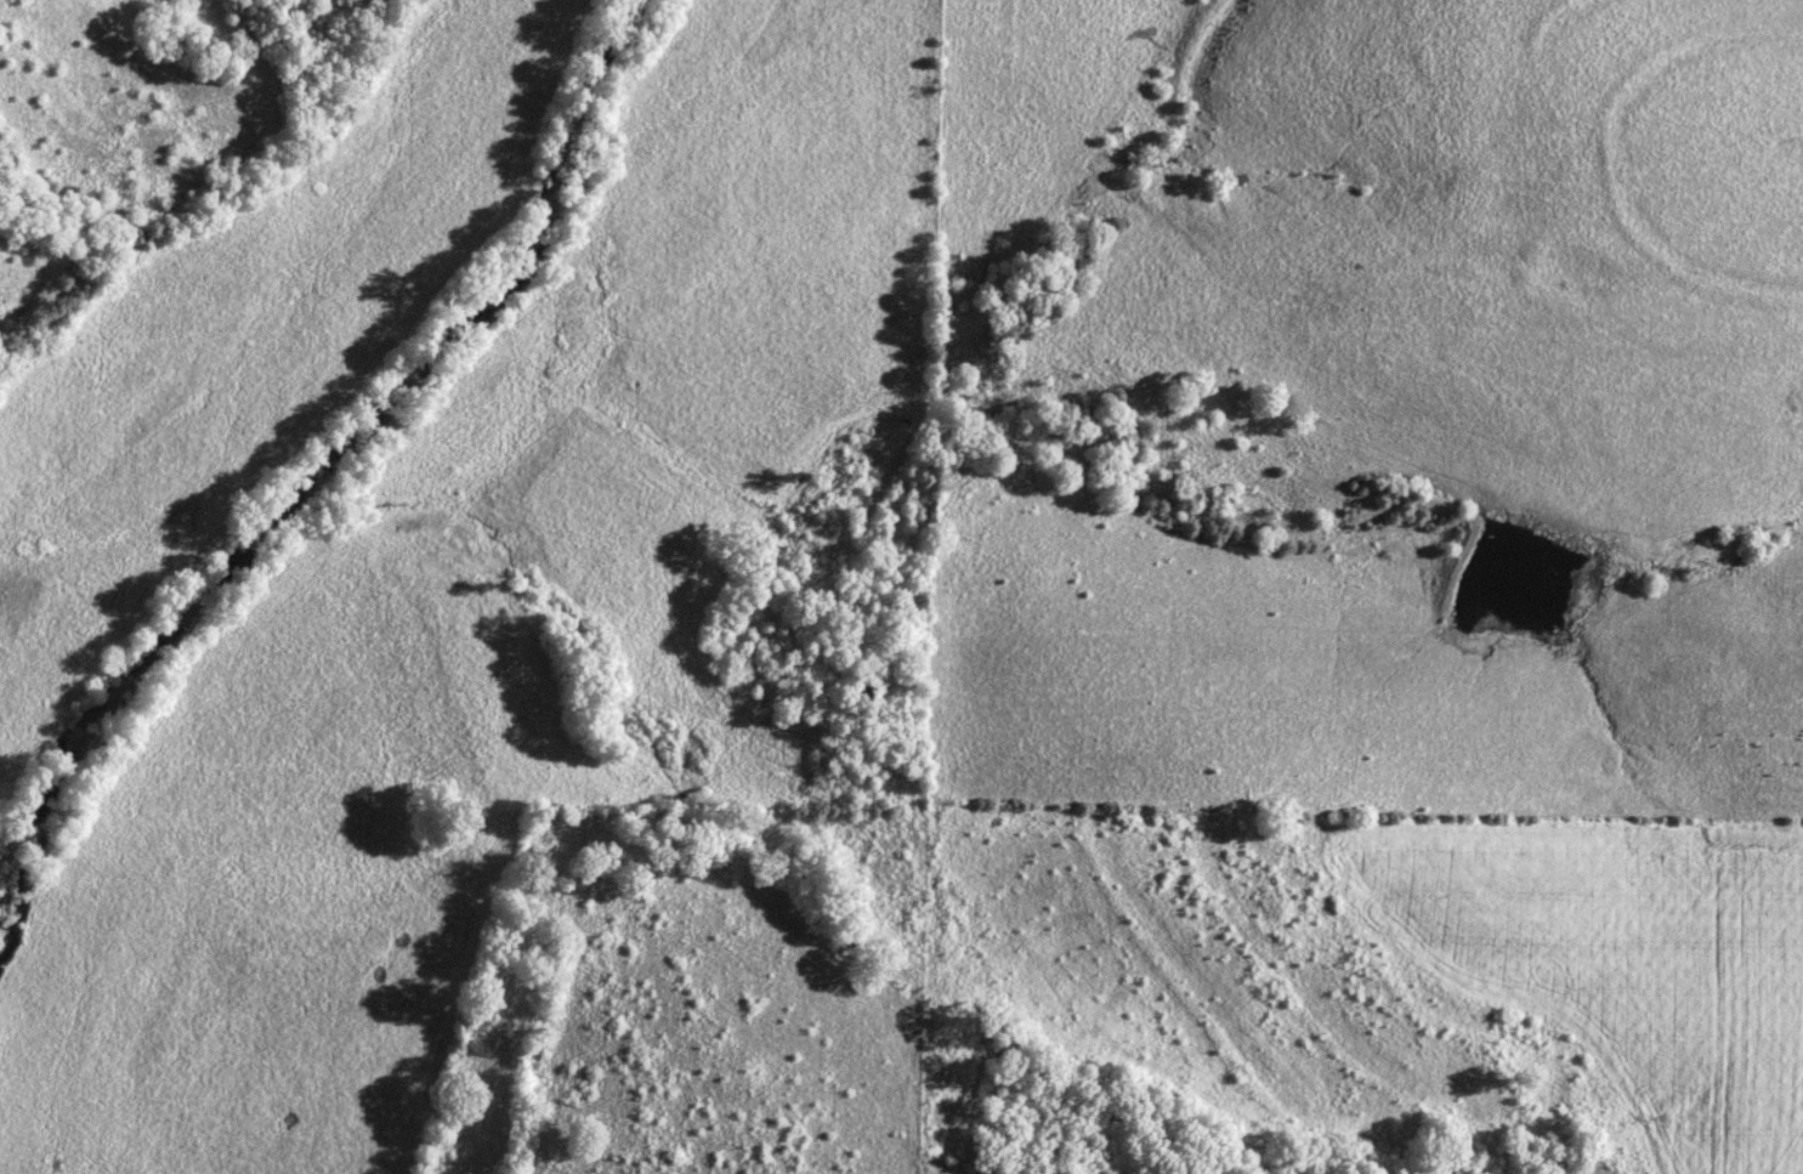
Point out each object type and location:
building: (862, 682)

